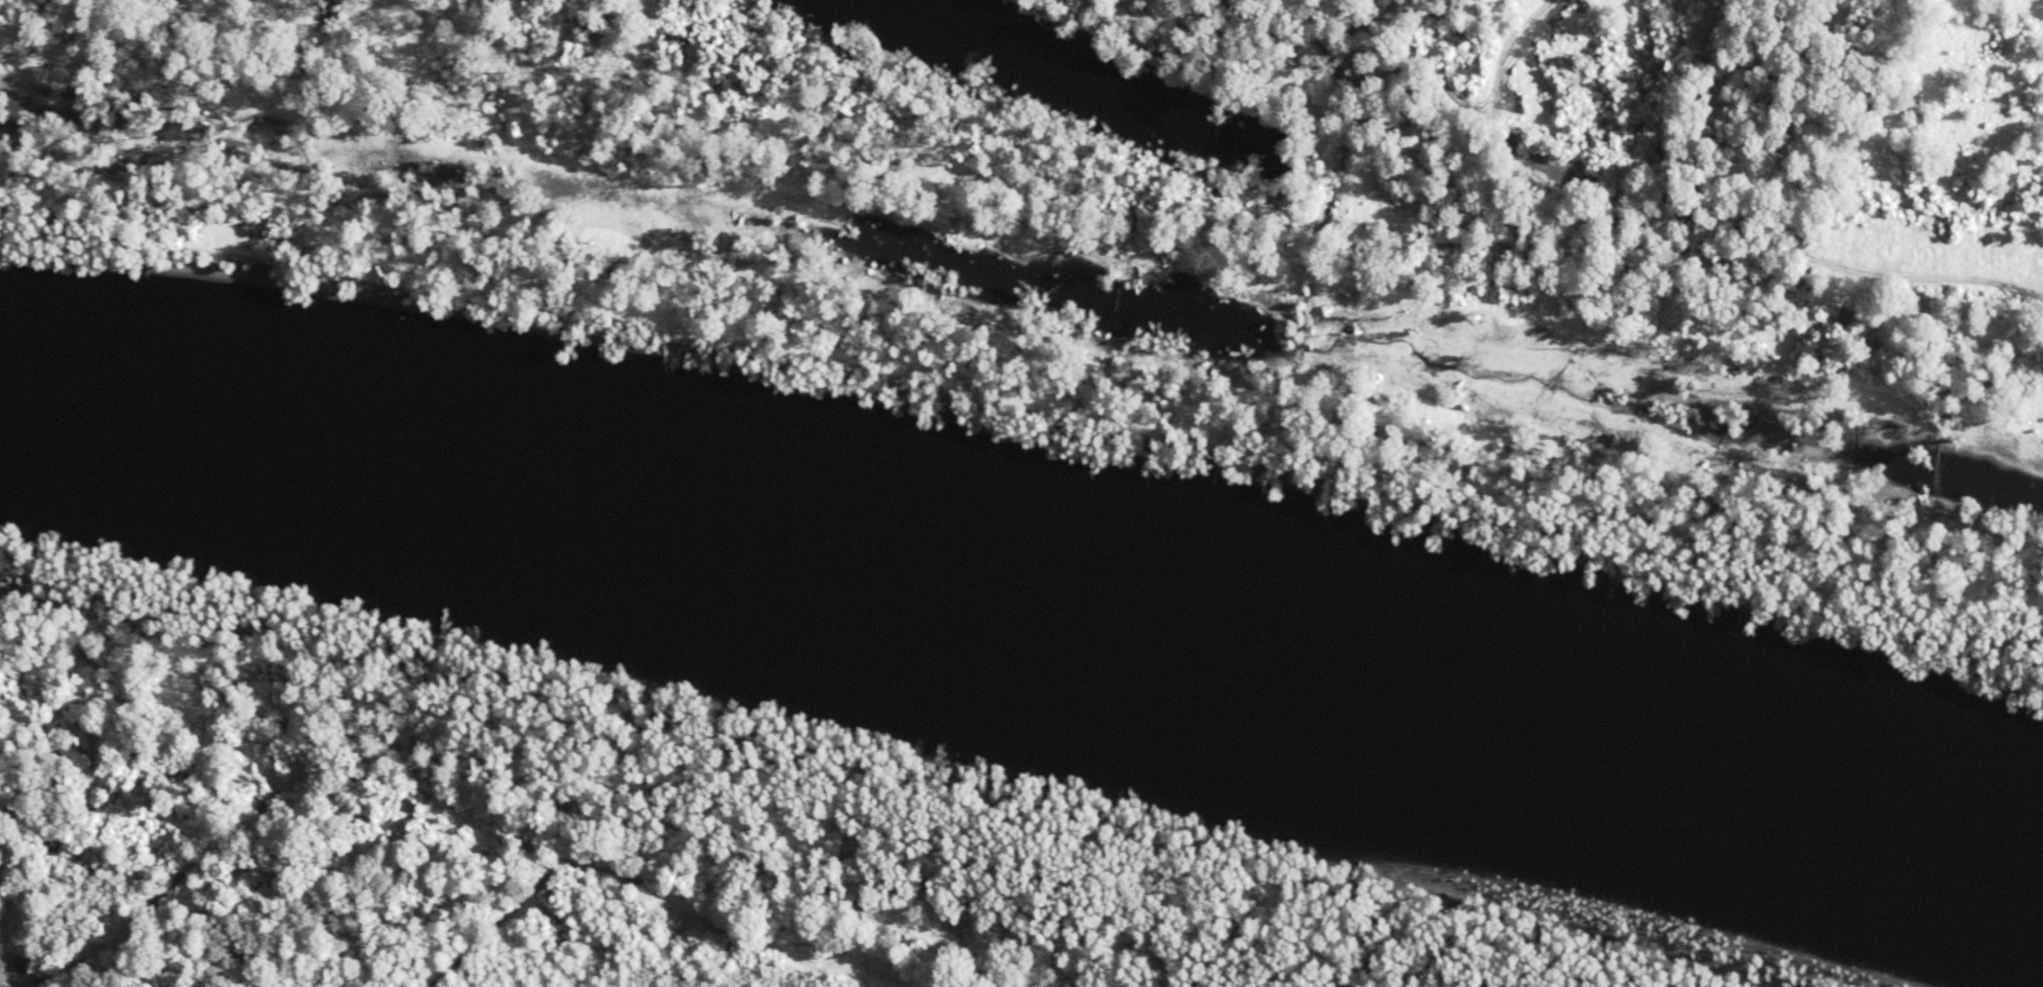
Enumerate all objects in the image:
road: (1499, 104)
road: (1747, 235)
river: (1025, 701)

